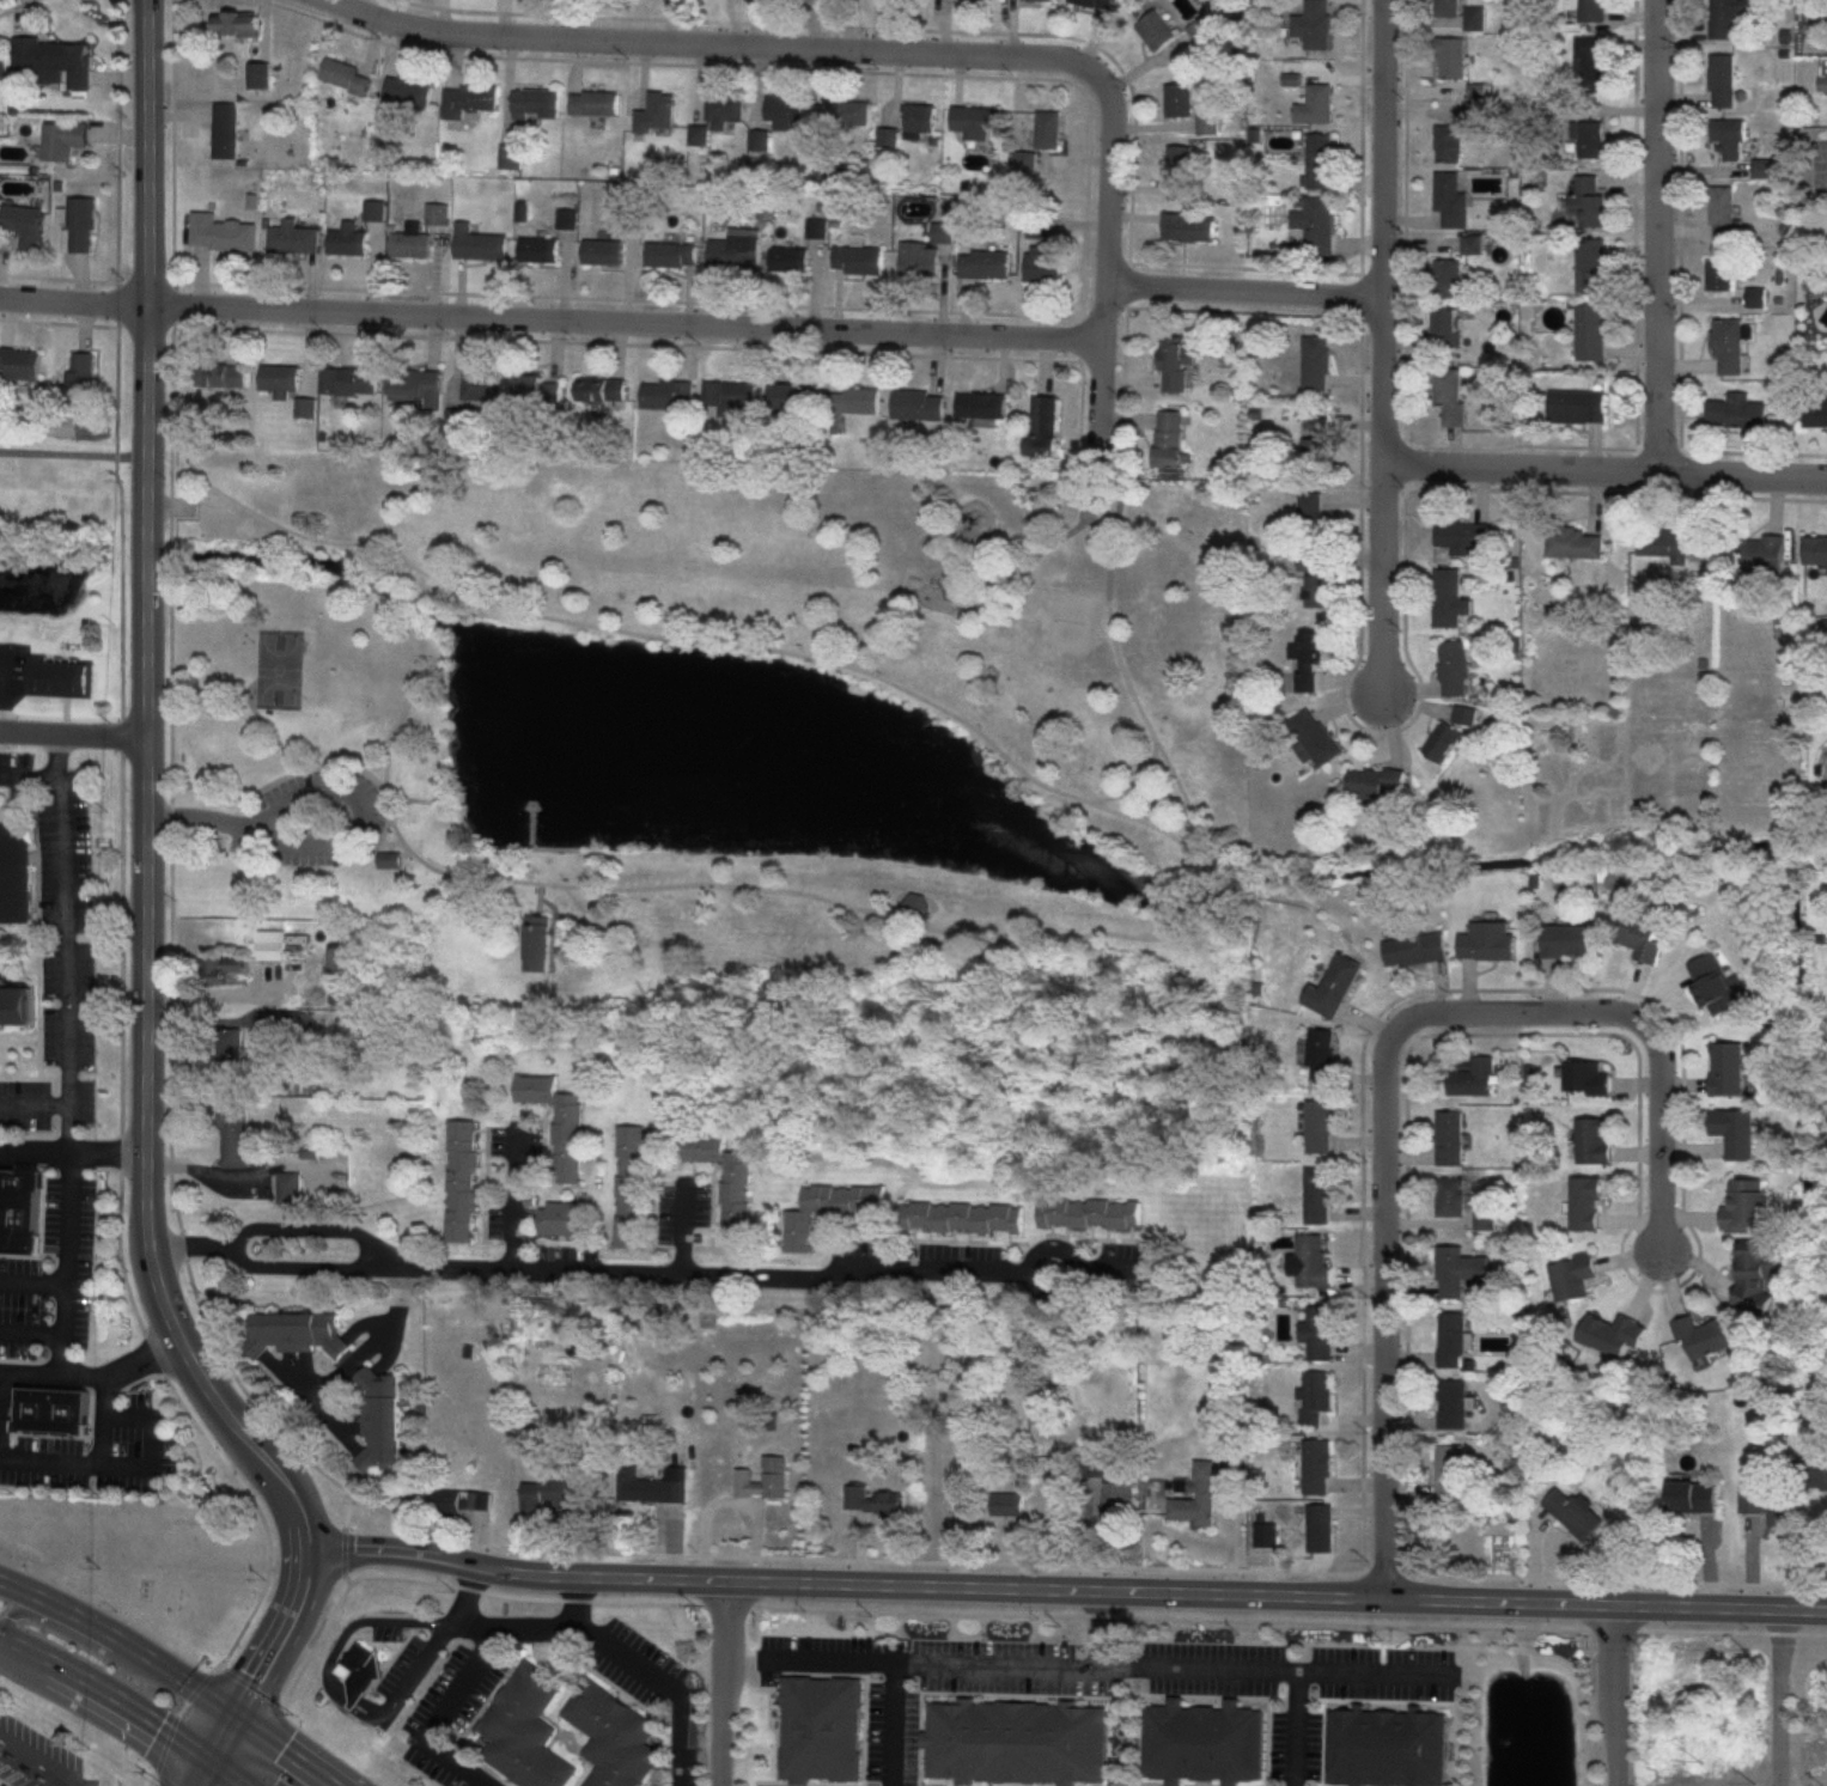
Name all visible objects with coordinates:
building: (1094, 2)
building: (1447, 7)
building: (1592, 11)
building: (1725, 14)
building: (1475, 18)
building: (237, 23)
building: (1313, 24)
building: (1200, 29)
building: (1156, 30)
road: (705, 43)
building: (1451, 57)
building: (1590, 59)
building: (51, 61)
building: (1, 72)
building: (1725, 73)
building: (260, 74)
building: (346, 75)
building: (409, 89)
building: (468, 98)
building: (1177, 99)
building: (593, 102)
building: (536, 103)
building: (1315, 104)
building: (724, 110)
building: (785, 110)
building: (657, 112)
building: (847, 112)
building: (920, 118)
building: (976, 122)
building: (226, 123)
building: (1048, 129)
building: (1588, 133)
building: (1729, 134)
building: (62, 139)
building: (1449, 142)
building: (511, 156)
building: (1022, 159)
building: (1319, 159)
building: (1181, 172)
building: (826, 176)
building: (1450, 197)
building: (1588, 200)
building: (1723, 213)
building: (566, 218)
building: (22, 224)
building: (79, 224)
building: (1316, 224)
building: (1188, 227)
building: (219, 232)
road: (1658, 236)
building: (291, 237)
building: (346, 239)
building: (477, 243)
building: (409, 244)
building: (926, 248)
building: (536, 249)
building: (735, 249)
building: (601, 251)
building: (670, 254)
building: (788, 258)
building: (858, 258)
building: (983, 263)
building: (1043, 264)
building: (1591, 266)
road: (1104, 269)
building: (1723, 276)
building: (1449, 278)
road: (1243, 288)
road: (625, 298)
road: (550, 318)
building: (1449, 327)
building: (1591, 331)
road: (625, 342)
building: (1728, 346)
road: (1383, 349)
building: (19, 362)
building: (1176, 362)
building: (1316, 362)
building: (221, 374)
road: (1122, 379)
building: (79, 380)
building: (280, 380)
building: (349, 380)
building: (414, 385)
building: (482, 386)
building: (538, 388)
building: (601, 389)
building: (668, 394)
road: (1080, 395)
building: (730, 396)
building: (1450, 397)
building: (793, 401)
building: (857, 401)
building: (920, 404)
building: (982, 404)
building: (1577, 406)
building: (306, 408)
building: (1736, 410)
building: (1815, 410)
building: (1043, 426)
building: (1170, 438)
road: (72, 450)
building: (1317, 453)
road: (1606, 470)
road: (1096, 492)
road: (1080, 499)
building: (1314, 519)
road: (302, 535)
building: (1462, 535)
road: (1112, 536)
building: (1573, 542)
building: (1673, 542)
road: (1040, 547)
building: (1815, 549)
building: (1755, 554)
road: (419, 579)
building: (1317, 591)
building: (1449, 597)
road: (416, 603)
road: (930, 612)
park: (1067, 620)
road: (871, 632)
road: (857, 658)
building: (1309, 658)
road: (845, 664)
park: (276, 668)
building: (1455, 668)
building: (59, 670)
road: (251, 694)
road: (406, 699)
building: (1466, 714)
road: (262, 723)
road: (1149, 729)
park: (719, 732)
road: (72, 733)
building: (1317, 736)
building: (1444, 742)
road: (384, 764)
road: (26, 775)
road: (169, 775)
road: (372, 779)
road: (1134, 784)
building: (1376, 784)
road: (177, 788)
road: (145, 798)
road: (419, 799)
road: (18, 803)
road: (395, 806)
parking lot: (311, 817)
road: (526, 825)
road: (327, 840)
road: (388, 842)
road: (372, 845)
road: (388, 846)
road: (511, 847)
road: (32, 857)
road: (120, 858)
building: (386, 859)
building: (13, 874)
road: (584, 877)
road: (536, 898)
building: (915, 906)
road: (1181, 906)
road: (866, 910)
road: (36, 926)
building: (1639, 935)
building: (1487, 940)
building: (1565, 940)
building: (535, 943)
building: (270, 944)
road: (617, 945)
parking lot: (57, 946)
building: (1415, 949)
road: (774, 951)
building: (342, 968)
building: (219, 970)
building: (1716, 985)
building: (1333, 986)
building: (16, 1004)
road: (1636, 1016)
building: (291, 1023)
road: (648, 1034)
road: (32, 1041)
building: (229, 1053)
road: (66, 1054)
building: (1322, 1054)
building: (1726, 1068)
road: (0, 1072)
road: (32, 1077)
building: (1473, 1079)
road: (32, 1104)
building: (556, 1121)
building: (1319, 1127)
building: (1734, 1132)
building: (232, 1135)
building: (1449, 1138)
building: (1591, 1140)
road: (72, 1151)
building: (724, 1178)
building: (459, 1181)
building: (628, 1185)
building: (288, 1188)
building: (1317, 1195)
building: (1450, 1196)
road: (512, 1199)
building: (1584, 1203)
building: (1744, 1205)
building: (826, 1208)
building: (19, 1209)
building: (1088, 1213)
road: (38, 1215)
building: (961, 1215)
building: (561, 1217)
road: (77, 1254)
road: (19, 1255)
building: (1311, 1260)
road: (41, 1267)
building: (1457, 1270)
road: (643, 1273)
building: (1754, 1275)
building: (1571, 1276)
road: (31, 1282)
road: (1386, 1313)
road: (30, 1333)
building: (294, 1333)
building: (1319, 1333)
road: (372, 1334)
building: (1703, 1337)
building: (1451, 1340)
parking lot: (72, 1361)
road: (93, 1377)
road: (128, 1384)
building: (1315, 1395)
building: (1453, 1404)
building: (59, 1407)
building: (379, 1419)
road: (101, 1421)
road: (122, 1464)
building: (1095, 1465)
building: (1316, 1467)
building: (1453, 1473)
building: (1816, 1477)
building: (762, 1479)
building: (648, 1487)
building: (556, 1493)
building: (1195, 1498)
building: (1693, 1498)
building: (463, 1500)
building: (871, 1500)
building: (1114, 1501)
building: (1006, 1504)
building: (1768, 1504)
building: (1573, 1512)
building: (1320, 1529)
building: (1265, 1535)
road: (342, 1537)
road: (1064, 1587)
road: (574, 1599)
road: (278, 1635)
road: (120, 1638)
road: (313, 1644)
road: (1779, 1646)
road: (329, 1658)
road: (829, 1659)
road: (970, 1663)
parking lot: (401, 1664)
building: (366, 1665)
road: (1253, 1670)
road: (1370, 1674)
road: (664, 1682)
road: (718, 1682)
road: (202, 1683)
road: (249, 1684)
road: (459, 1686)
road: (110, 1690)
road: (1614, 1694)
parking lot: (1094, 1695)
parking lot: (657, 1696)
road: (181, 1707)
traffic signals: (235, 1712)
parking lot: (458, 1719)
building: (532, 1724)
building: (823, 1731)
road: (224, 1736)
building: (620, 1736)
road: (1777, 1736)
building: (1021, 1739)
building: (1211, 1742)
road: (165, 1743)
building: (1383, 1743)
parking lot: (41, 1745)
road: (290, 1749)
traffic signals: (214, 1761)
road: (34, 1762)
road: (208, 1773)
road: (230, 1773)
road: (163, 1780)
building: (0, 1785)

